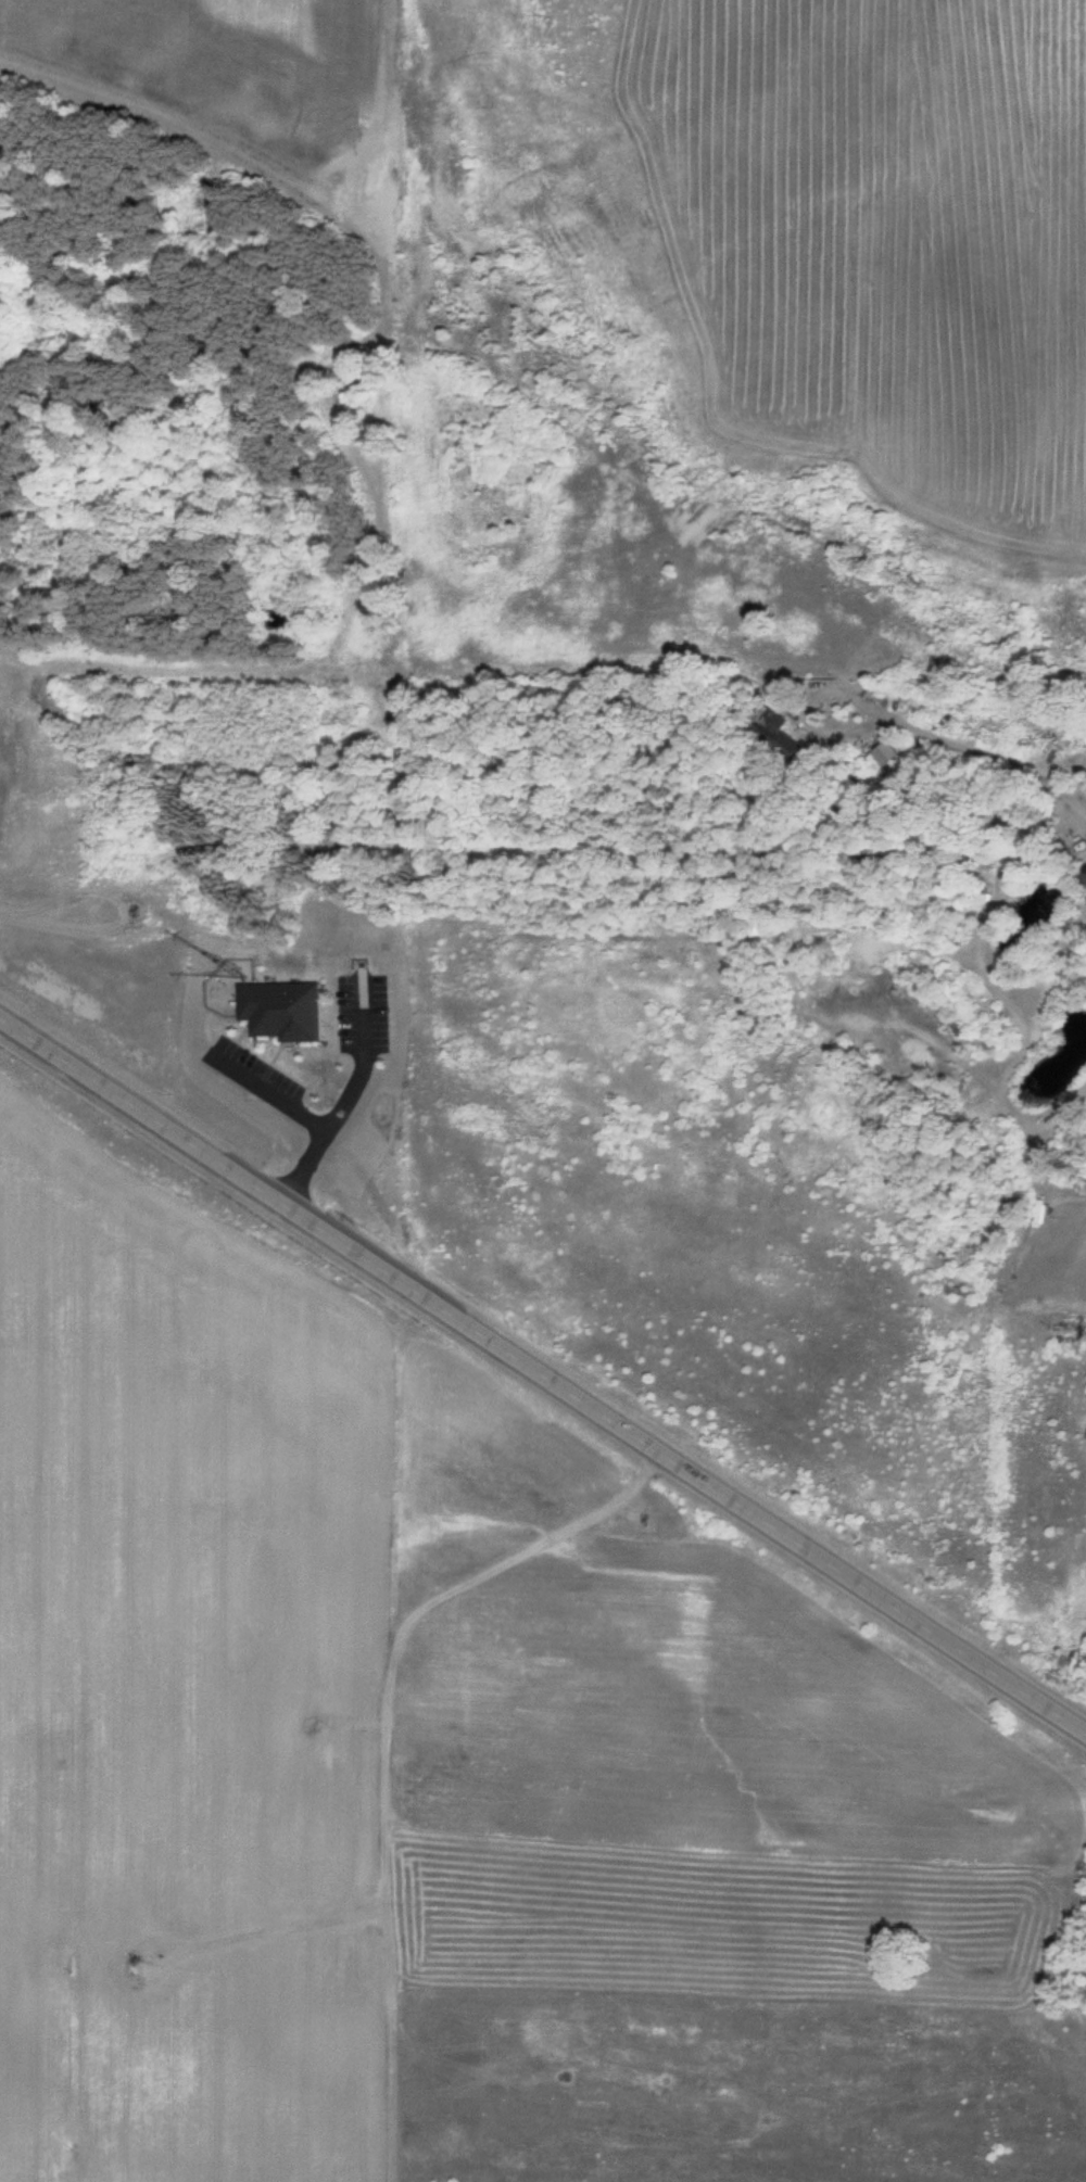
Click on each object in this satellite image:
building: (779, 734)
building: (1084, 876)
building: (287, 1012)
road: (278, 1098)
road: (348, 1107)
road: (541, 1375)
road: (390, 1739)

